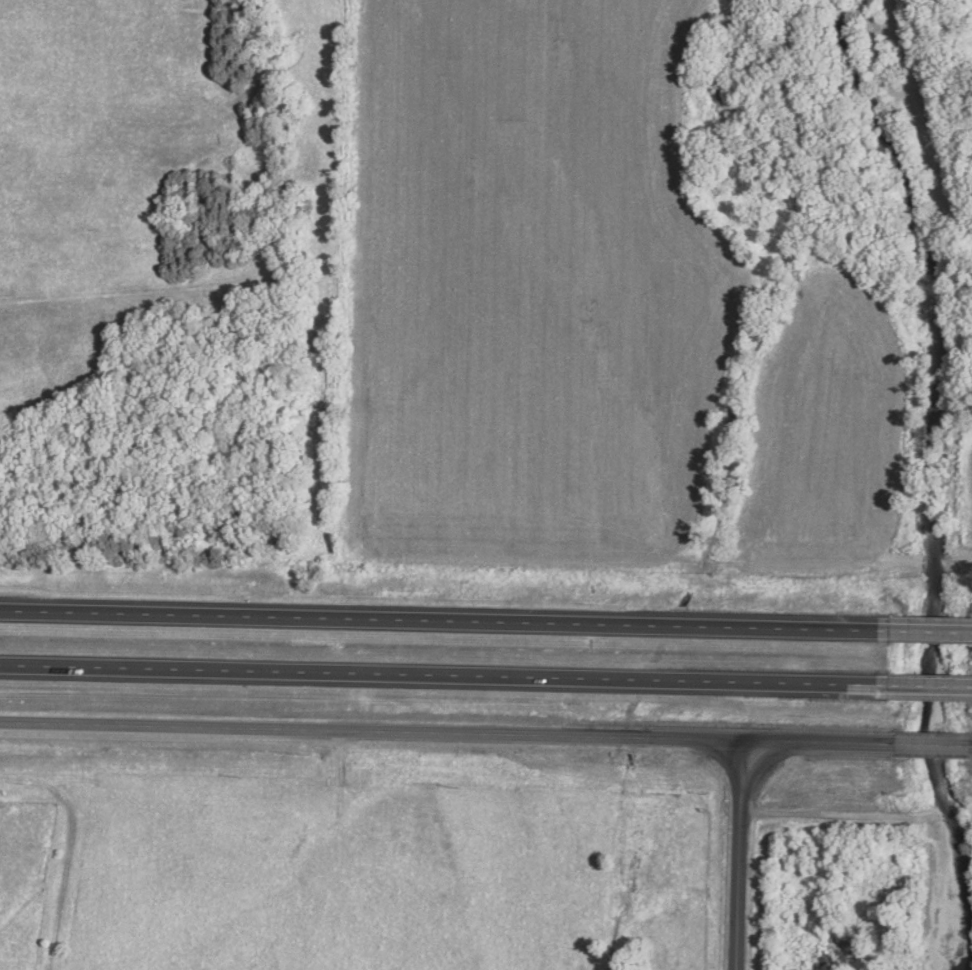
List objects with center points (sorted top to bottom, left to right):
road: (445, 621)
road: (932, 629)
road: (446, 677)
building: (934, 687)
road: (932, 688)
road: (371, 731)
road: (818, 744)
road: (931, 746)
road: (970, 747)
road: (740, 856)

